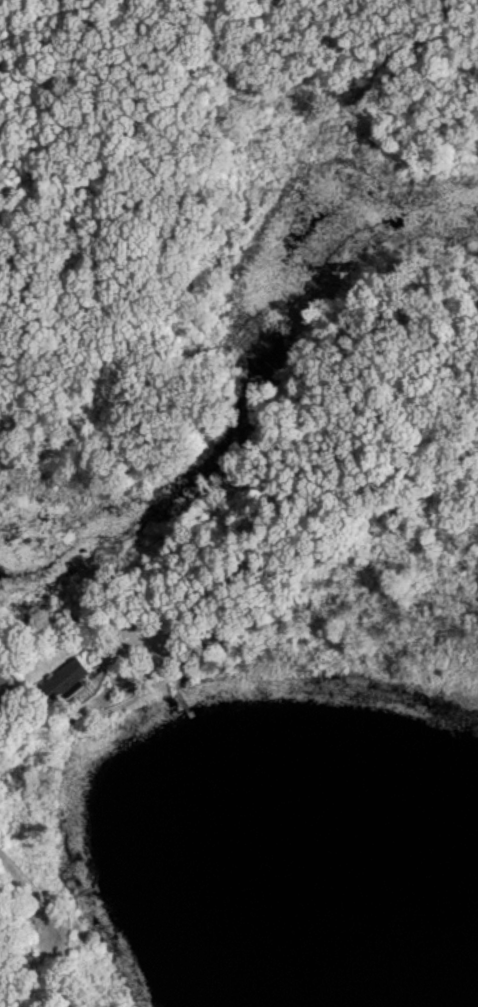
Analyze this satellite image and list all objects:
road: (341, 27)
road: (104, 35)
park: (239, 328)
building: (3, 674)
building: (65, 677)
pier: (186, 706)

